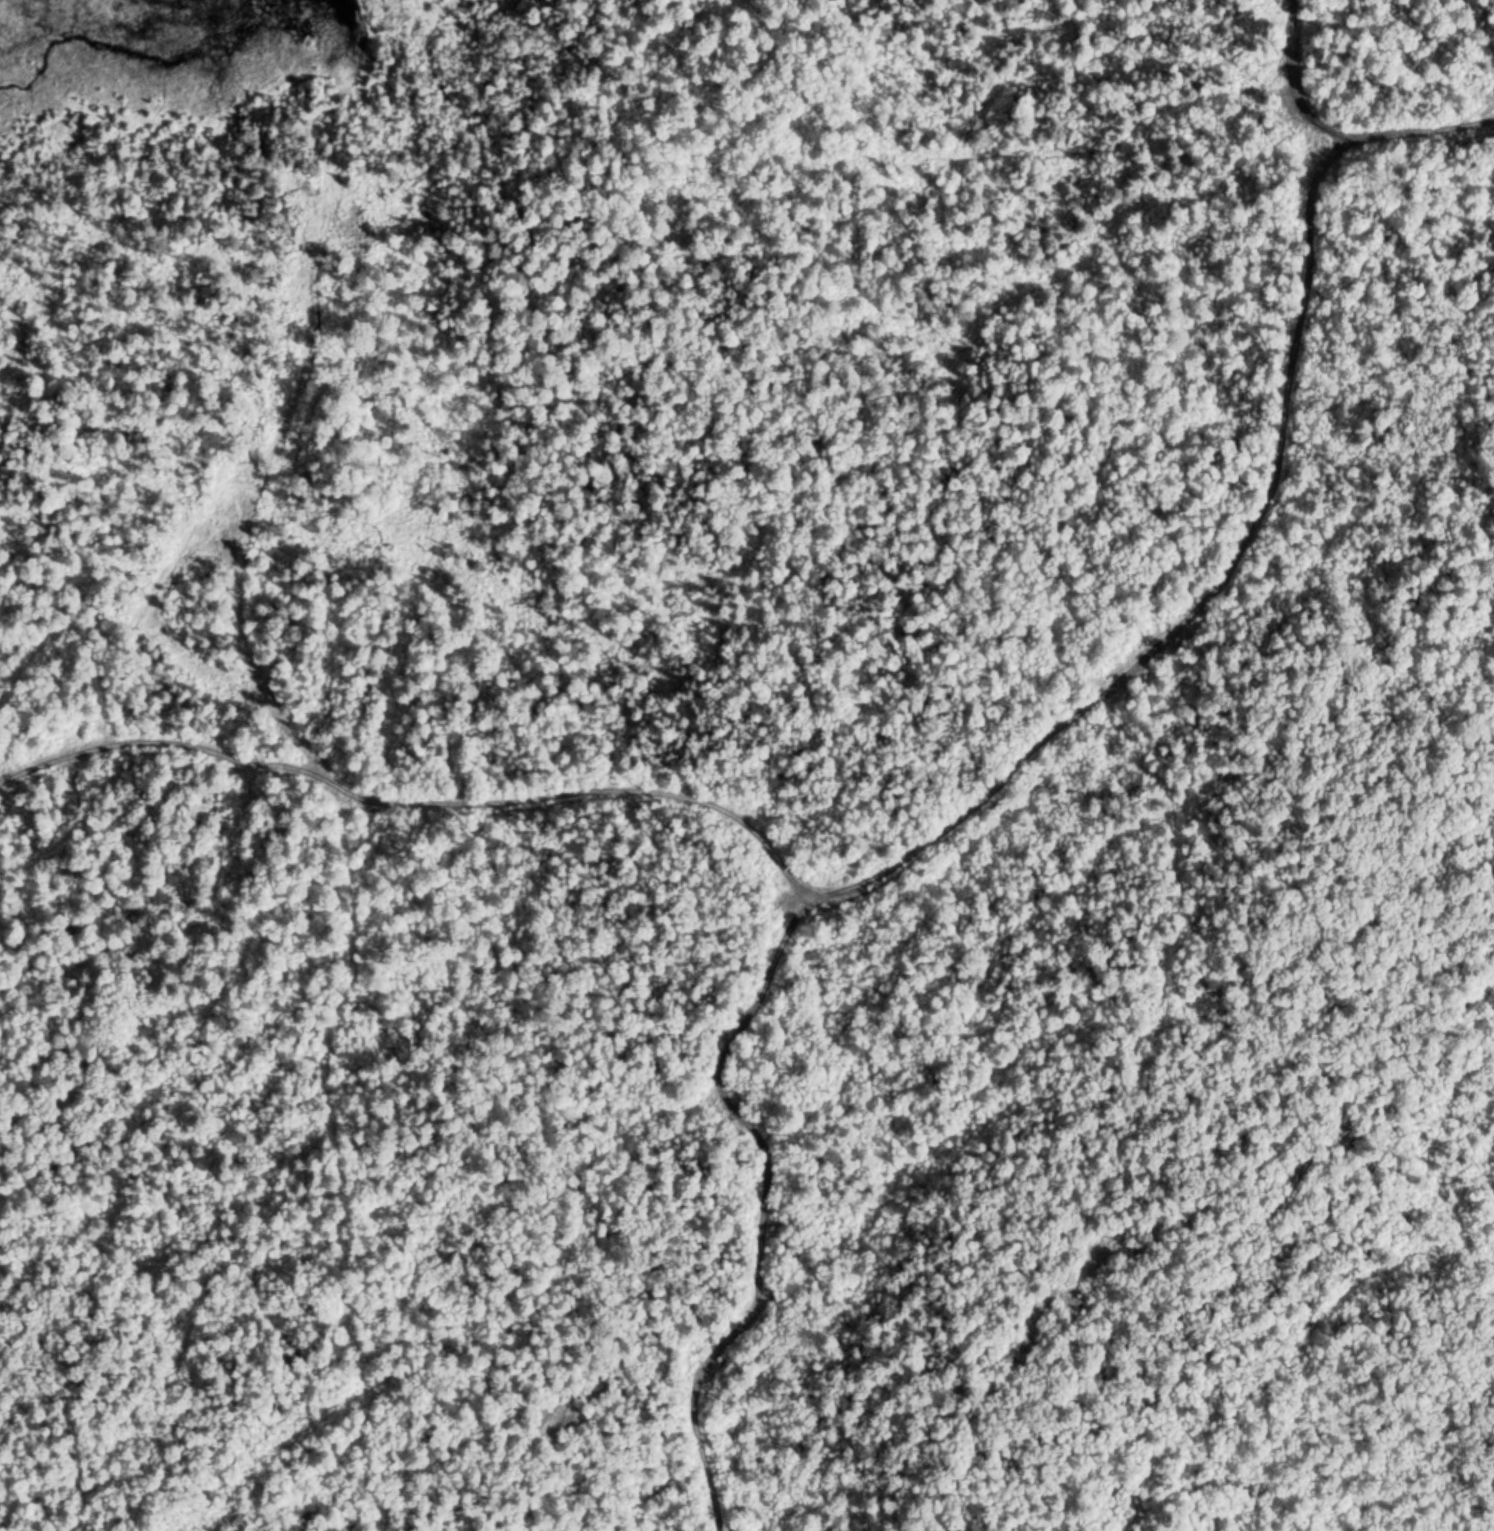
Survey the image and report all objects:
road: (936, 844)

